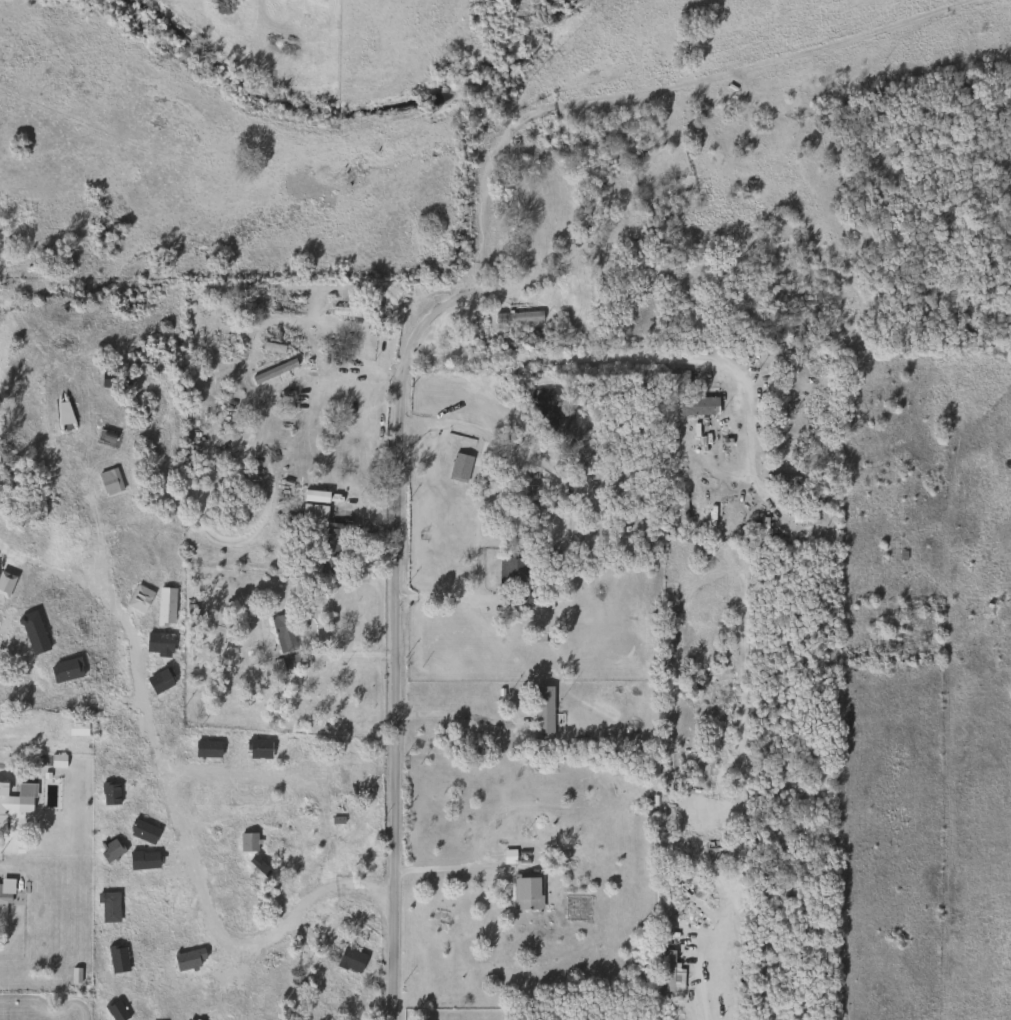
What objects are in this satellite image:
building: (348, 312)
building: (516, 317)
building: (285, 351)
road: (627, 356)
building: (677, 383)
building: (696, 406)
building: (502, 457)
road: (398, 471)
building: (310, 513)
building: (757, 530)
road: (56, 575)
road: (445, 597)
building: (282, 634)
building: (285, 663)
road: (20, 672)
building: (190, 703)
building: (541, 711)
road: (450, 713)
building: (76, 729)
building: (55, 762)
road: (5, 768)
road: (239, 773)
road: (168, 798)
building: (15, 800)
building: (270, 842)
road: (445, 867)
building: (524, 892)
building: (4, 893)
building: (667, 971)
building: (33, 982)
road: (700, 993)

